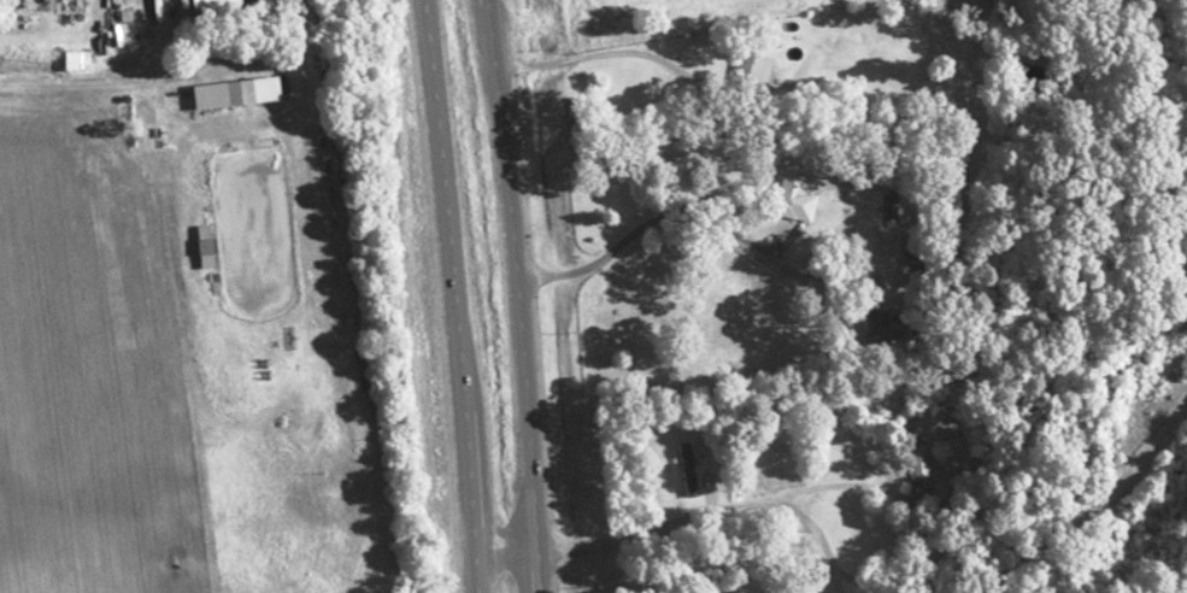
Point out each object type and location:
building: (75, 59)
building: (788, 194)
building: (202, 249)
road: (453, 295)
road: (519, 295)
building: (916, 468)
road: (506, 550)

